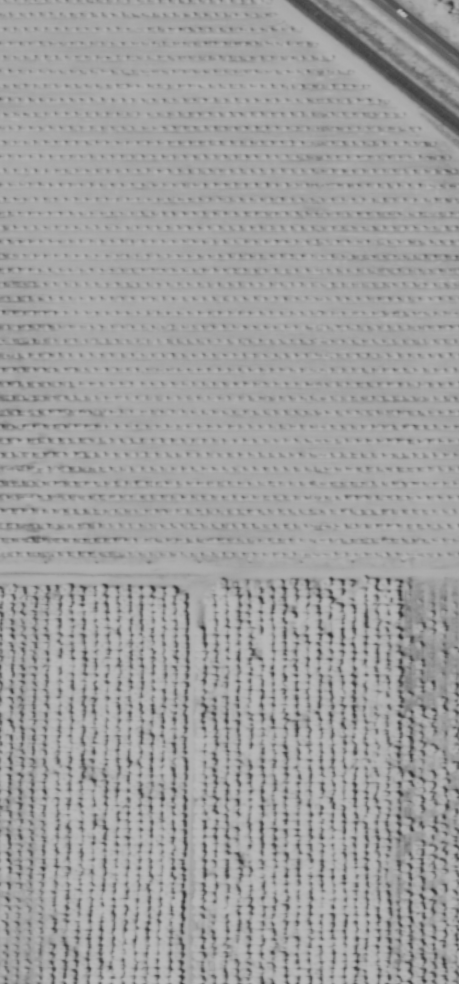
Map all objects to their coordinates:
road: (418, 31)
railway: (376, 64)
crop: (229, 492)

